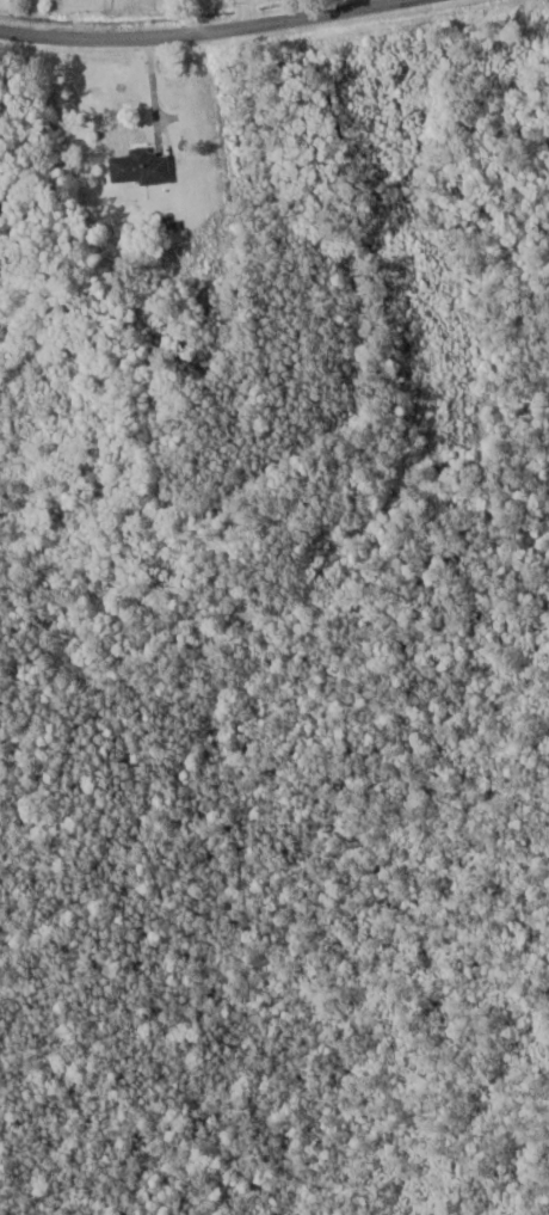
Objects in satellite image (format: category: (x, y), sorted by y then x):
road: (191, 17)
road: (204, 32)
road: (149, 94)
building: (141, 164)

